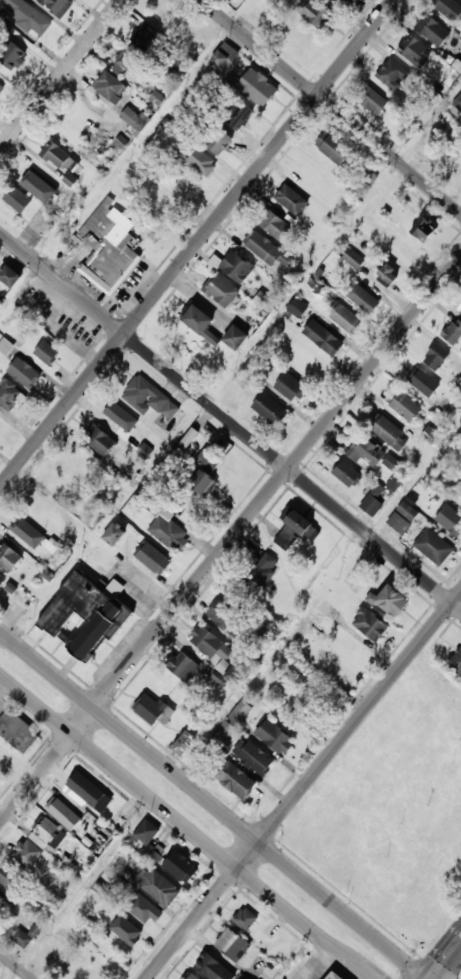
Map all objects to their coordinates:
building: (243, 0)
building: (337, 3)
building: (58, 6)
building: (449, 9)
building: (316, 12)
building: (257, 14)
building: (28, 15)
building: (166, 17)
building: (432, 28)
building: (298, 33)
building: (205, 36)
building: (146, 39)
building: (414, 51)
building: (14, 56)
building: (222, 57)
building: (130, 61)
building: (392, 74)
road: (61, 75)
building: (109, 85)
building: (1, 87)
building: (258, 87)
building: (459, 95)
building: (372, 100)
road: (330, 106)
building: (239, 114)
building: (135, 118)
building: (220, 140)
building: (335, 149)
building: (56, 154)
building: (199, 159)
building: (69, 179)
building: (33, 181)
building: (18, 199)
building: (292, 200)
building: (274, 224)
building: (424, 226)
road: (197, 243)
building: (108, 247)
building: (266, 249)
building: (352, 257)
building: (237, 267)
building: (391, 274)
building: (10, 276)
building: (222, 291)
building: (362, 296)
building: (297, 307)
building: (460, 308)
building: (460, 312)
building: (346, 318)
building: (200, 323)
building: (453, 331)
building: (236, 337)
building: (324, 337)
building: (5, 346)
building: (47, 352)
building: (437, 356)
building: (24, 373)
building: (424, 382)
building: (292, 388)
building: (10, 395)
building: (148, 398)
building: (405, 405)
building: (270, 410)
building: (118, 415)
road: (230, 420)
building: (0, 423)
building: (391, 433)
building: (429, 434)
building: (101, 439)
building: (187, 439)
building: (366, 451)
building: (80, 461)
building: (391, 462)
building: (206, 473)
building: (348, 474)
building: (60, 482)
building: (393, 483)
building: (373, 500)
building: (403, 517)
building: (450, 518)
building: (296, 531)
building: (28, 533)
building: (169, 533)
building: (114, 534)
road: (230, 539)
building: (434, 546)
building: (9, 557)
building: (154, 558)
building: (261, 575)
building: (2, 578)
building: (394, 600)
building: (73, 604)
building: (228, 619)
building: (370, 624)
building: (100, 629)
building: (208, 641)
building: (456, 661)
building: (184, 666)
building: (236, 673)
building: (154, 709)
building: (235, 717)
building: (18, 731)
building: (274, 736)
building: (185, 743)
building: (254, 757)
building: (6, 764)
building: (236, 780)
building: (1, 784)
road: (304, 786)
building: (88, 793)
road: (215, 804)
building: (65, 814)
road: (185, 826)
building: (146, 833)
building: (49, 834)
building: (96, 840)
building: (152, 852)
building: (27, 854)
building: (181, 868)
building: (11, 879)
building: (161, 888)
road: (84, 890)
building: (2, 901)
building: (144, 908)
building: (245, 919)
building: (128, 931)
building: (64, 933)
building: (20, 937)
building: (233, 945)
building: (48, 955)
road: (304, 958)
road: (446, 960)
road: (17, 964)
building: (214, 968)
park: (457, 972)
building: (87, 974)
building: (336, 975)
building: (190, 976)
building: (244, 977)
traffic signals: (432, 978)

